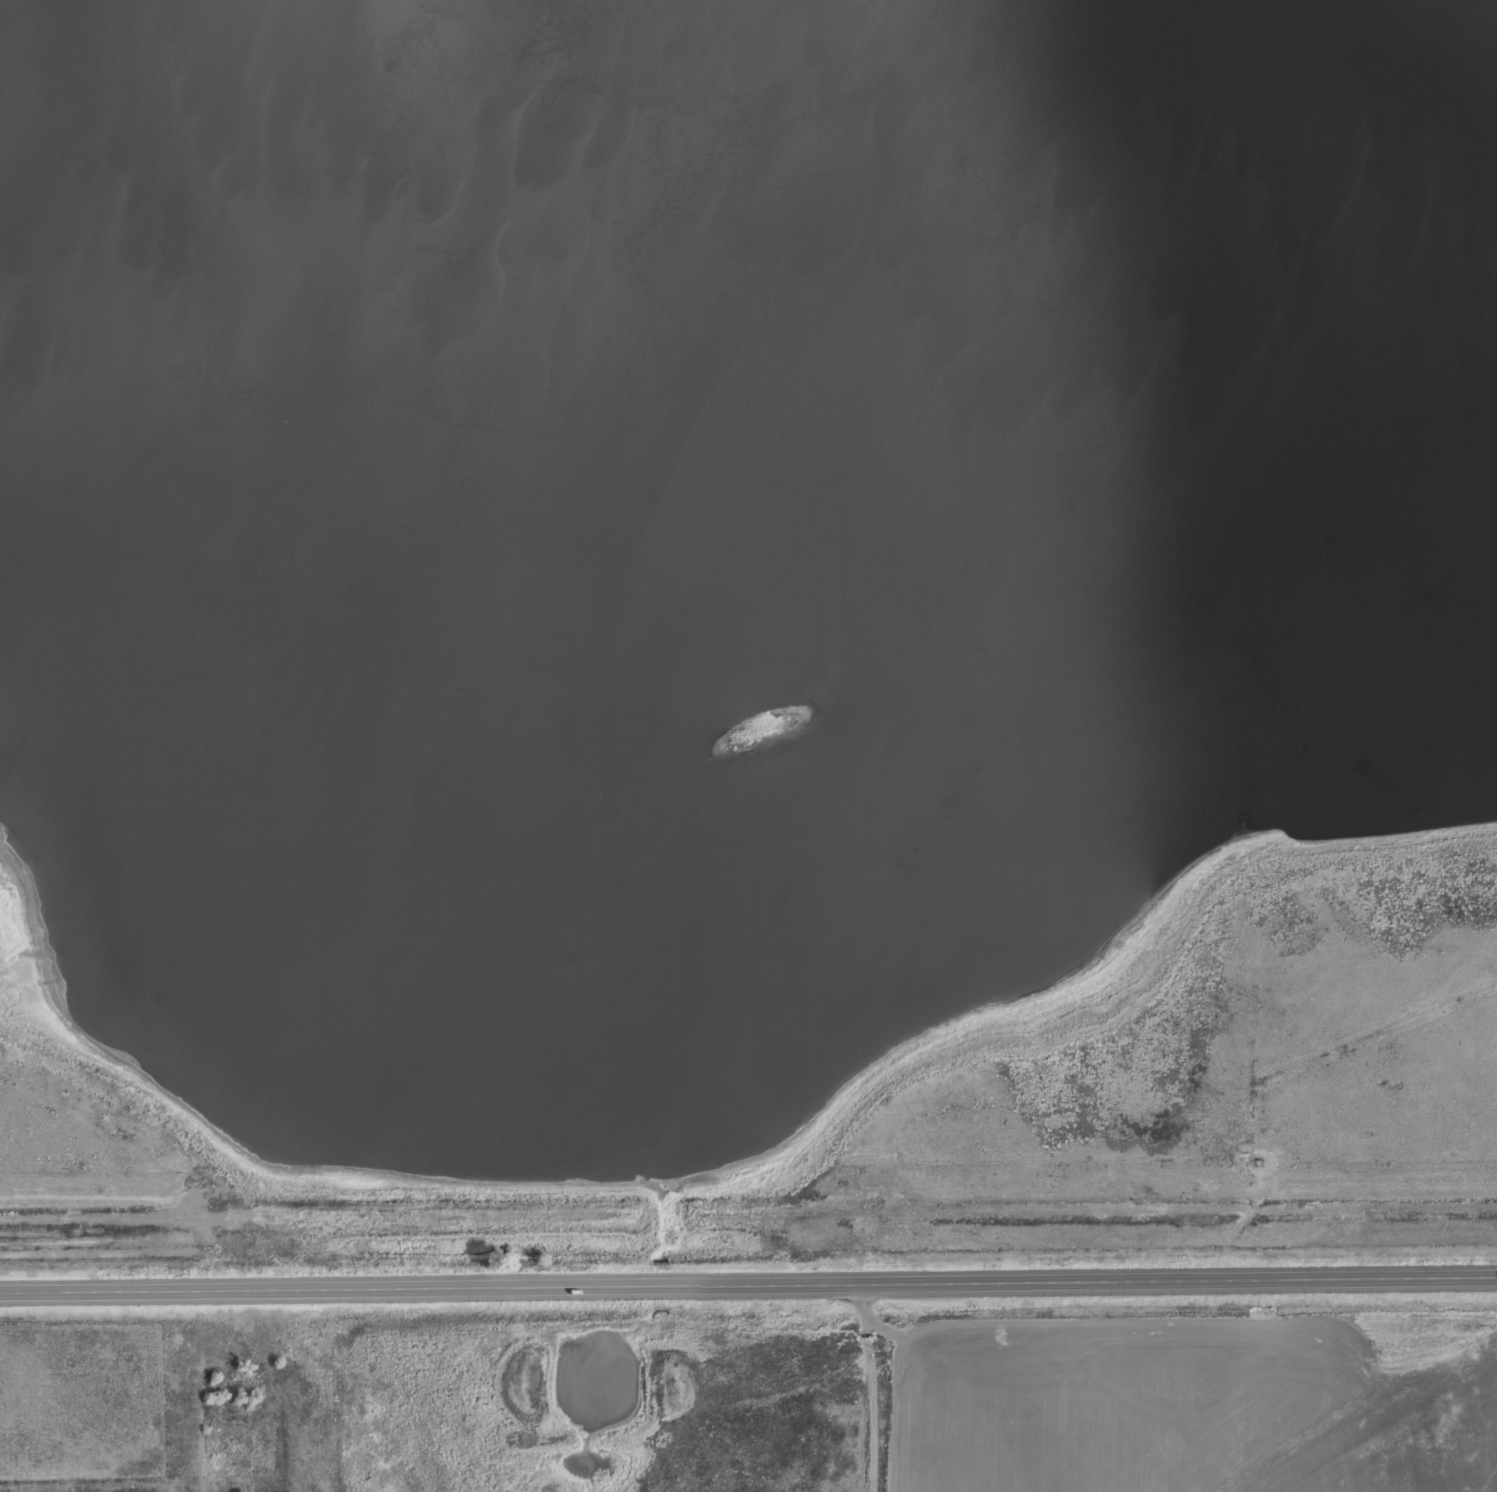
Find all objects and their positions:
road: (748, 1285)

